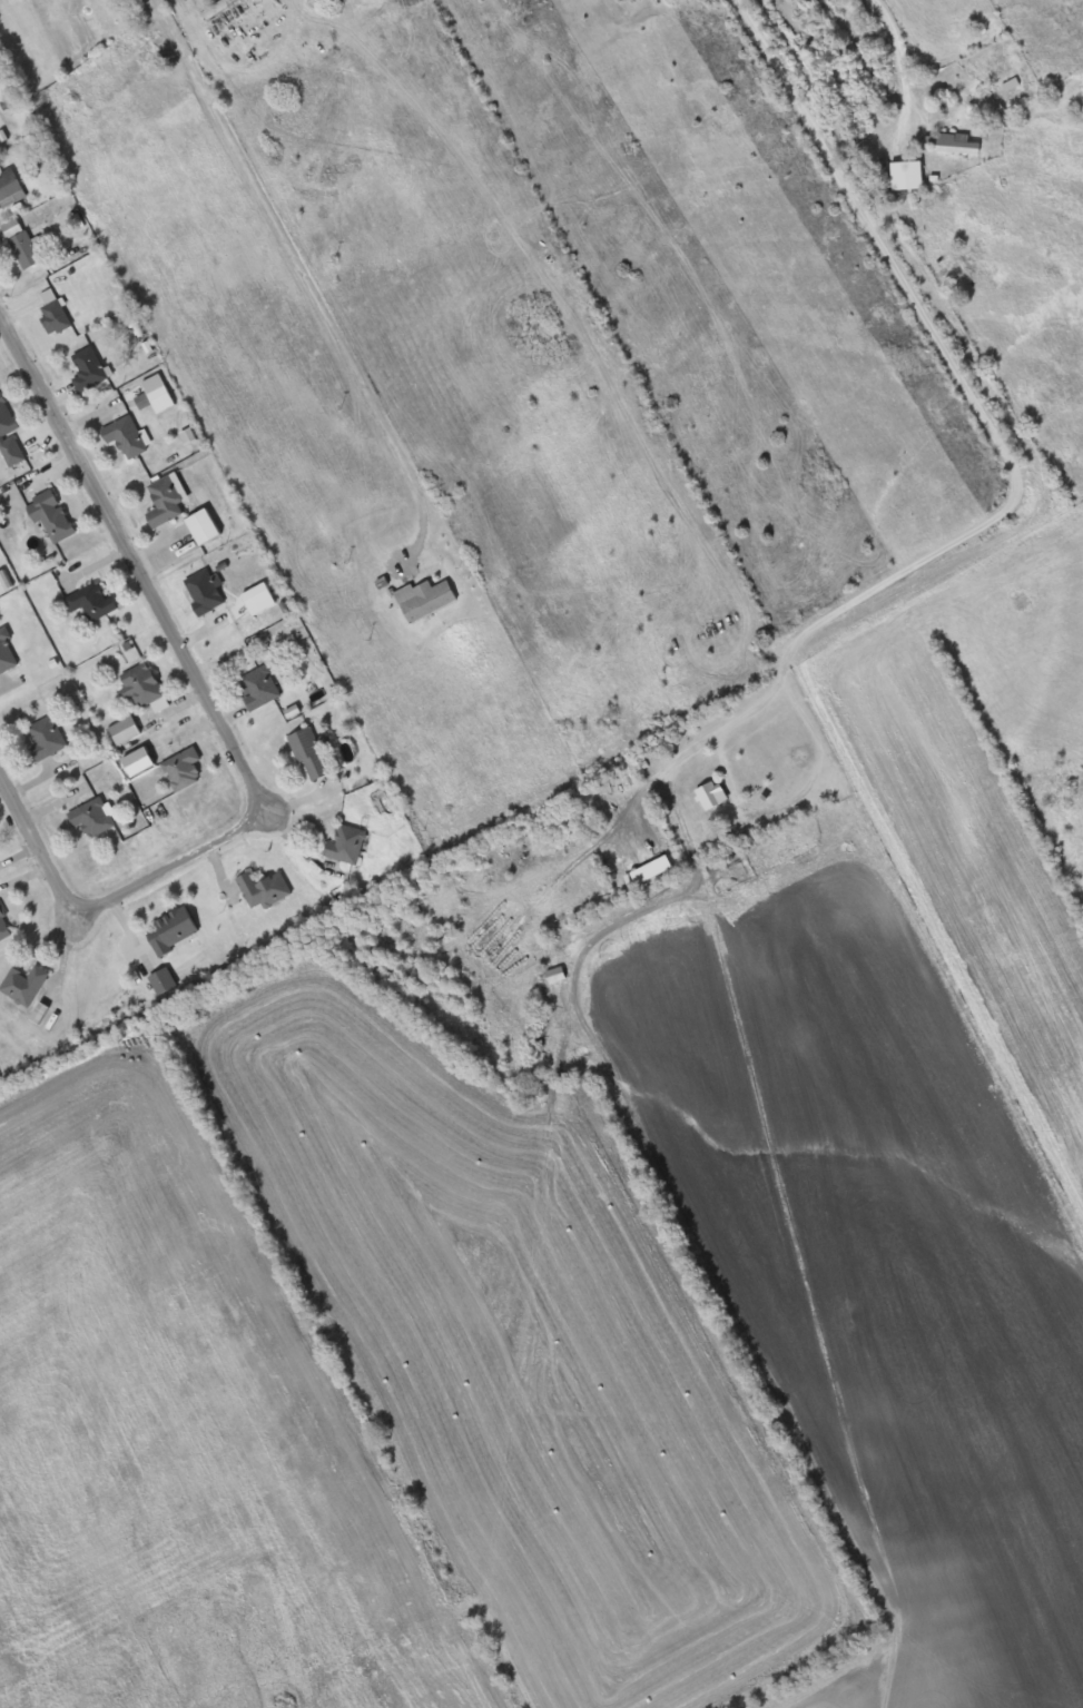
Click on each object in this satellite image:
building: (219, 8)
road: (907, 85)
building: (885, 139)
building: (957, 144)
building: (10, 185)
building: (22, 244)
building: (57, 316)
building: (90, 368)
road: (959, 374)
road: (990, 374)
building: (163, 398)
building: (10, 433)
building: (127, 435)
building: (168, 502)
building: (55, 515)
building: (206, 591)
building: (432, 600)
building: (92, 601)
building: (7, 653)
building: (144, 684)
building: (260, 687)
road: (836, 728)
building: (126, 730)
building: (48, 735)
road: (235, 742)
building: (312, 754)
building: (184, 769)
building: (710, 796)
building: (93, 817)
building: (347, 845)
building: (265, 889)
building: (4, 925)
building: (175, 928)
building: (164, 981)
building: (26, 985)

